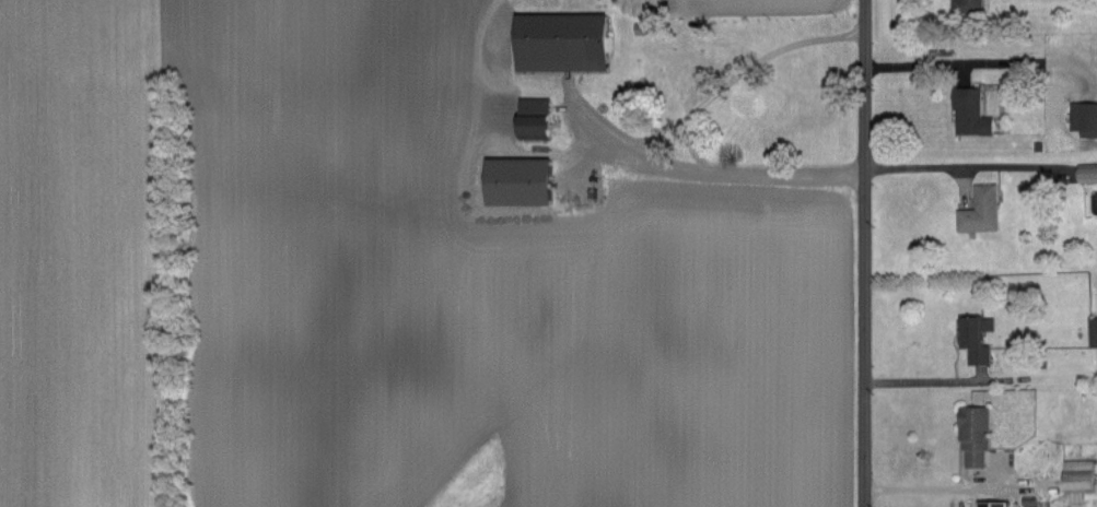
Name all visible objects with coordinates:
building: (964, 5)
building: (557, 40)
road: (945, 61)
building: (967, 111)
building: (528, 116)
building: (1083, 118)
road: (634, 139)
road: (958, 167)
building: (1085, 172)
building: (512, 179)
building: (977, 210)
road: (859, 253)
crop: (393, 276)
building: (1090, 331)
building: (972, 337)
road: (914, 379)
building: (971, 434)
building: (1075, 474)
road: (956, 487)
building: (990, 503)

